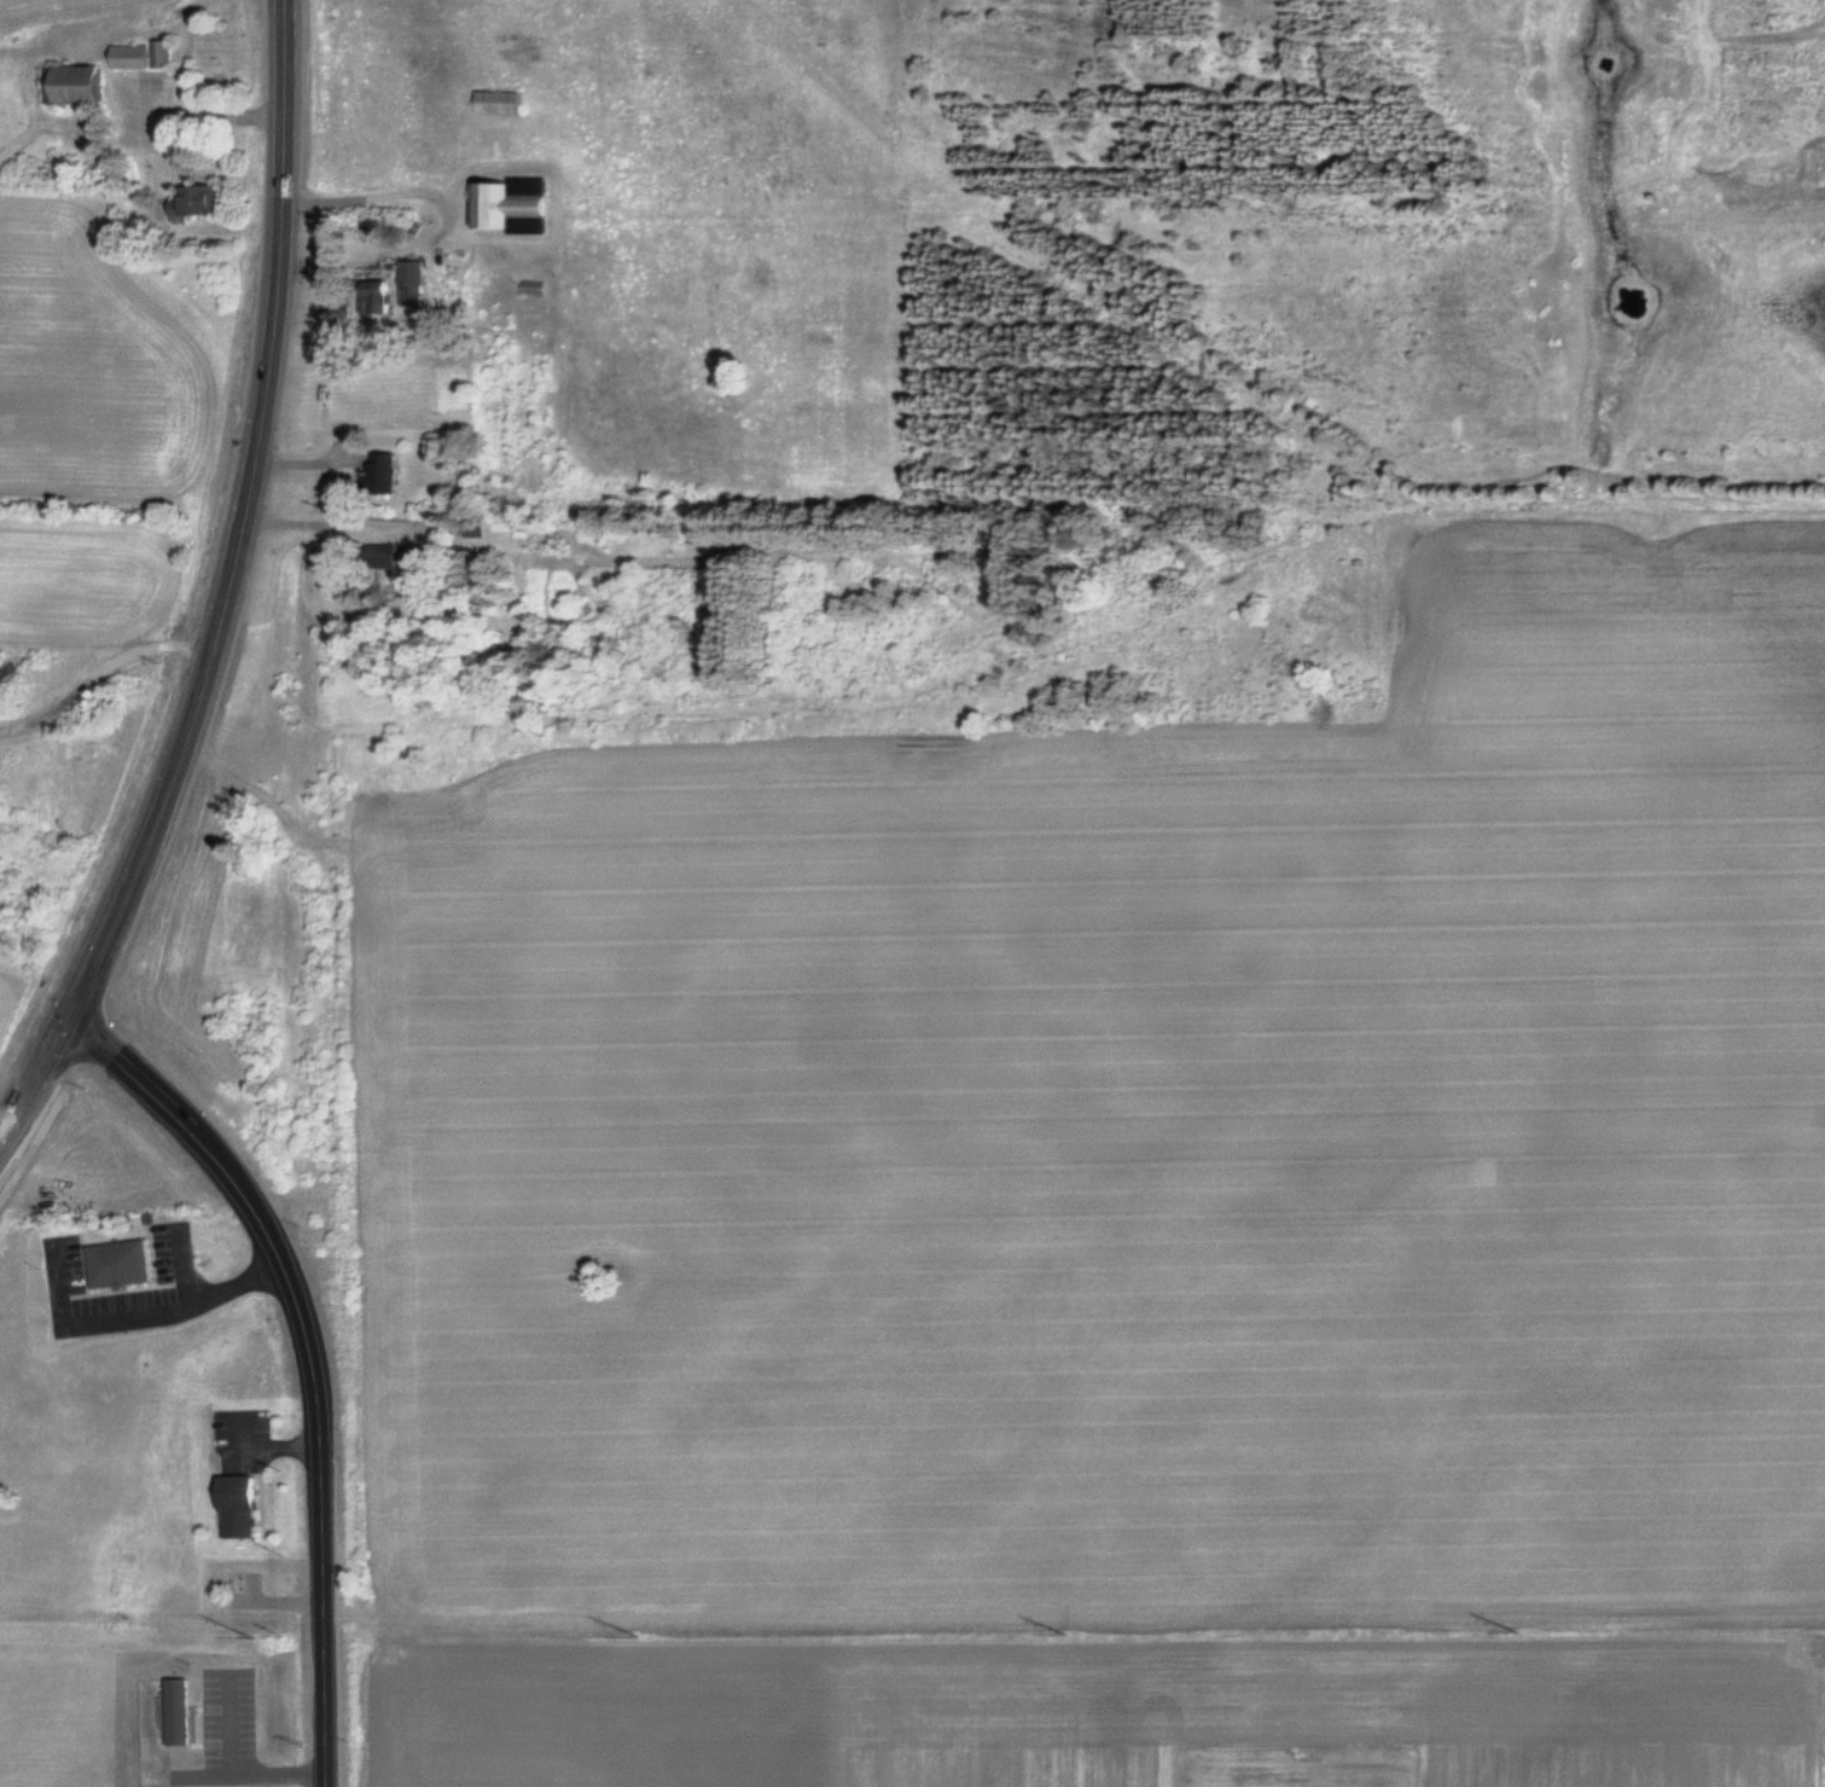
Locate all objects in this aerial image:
road: (284, 37)
building: (138, 56)
building: (83, 82)
building: (505, 100)
building: (203, 198)
building: (517, 199)
building: (415, 283)
building: (535, 286)
building: (386, 295)
building: (388, 472)
building: (394, 556)
road: (217, 631)
building: (124, 1263)
road: (309, 1360)
building: (244, 1505)

